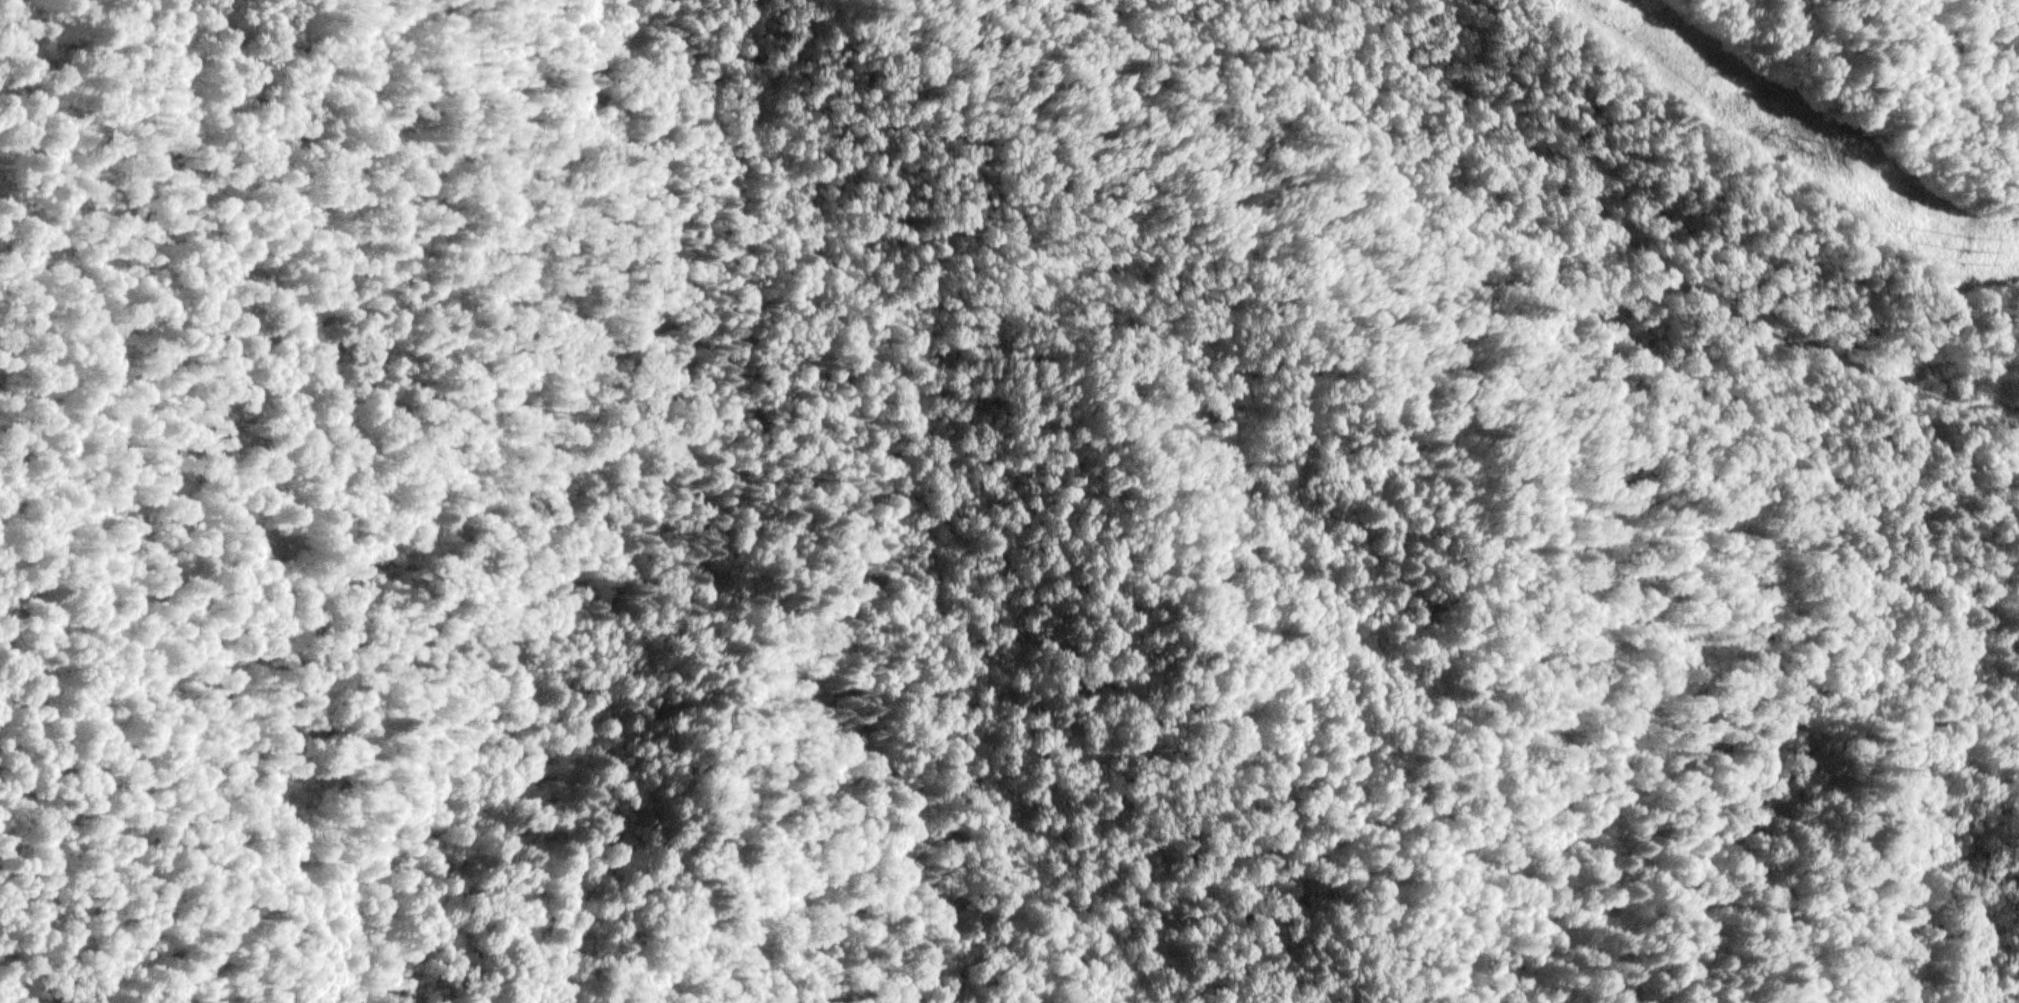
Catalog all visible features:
power tower: (1819, 149)
power tower: (1972, 253)

